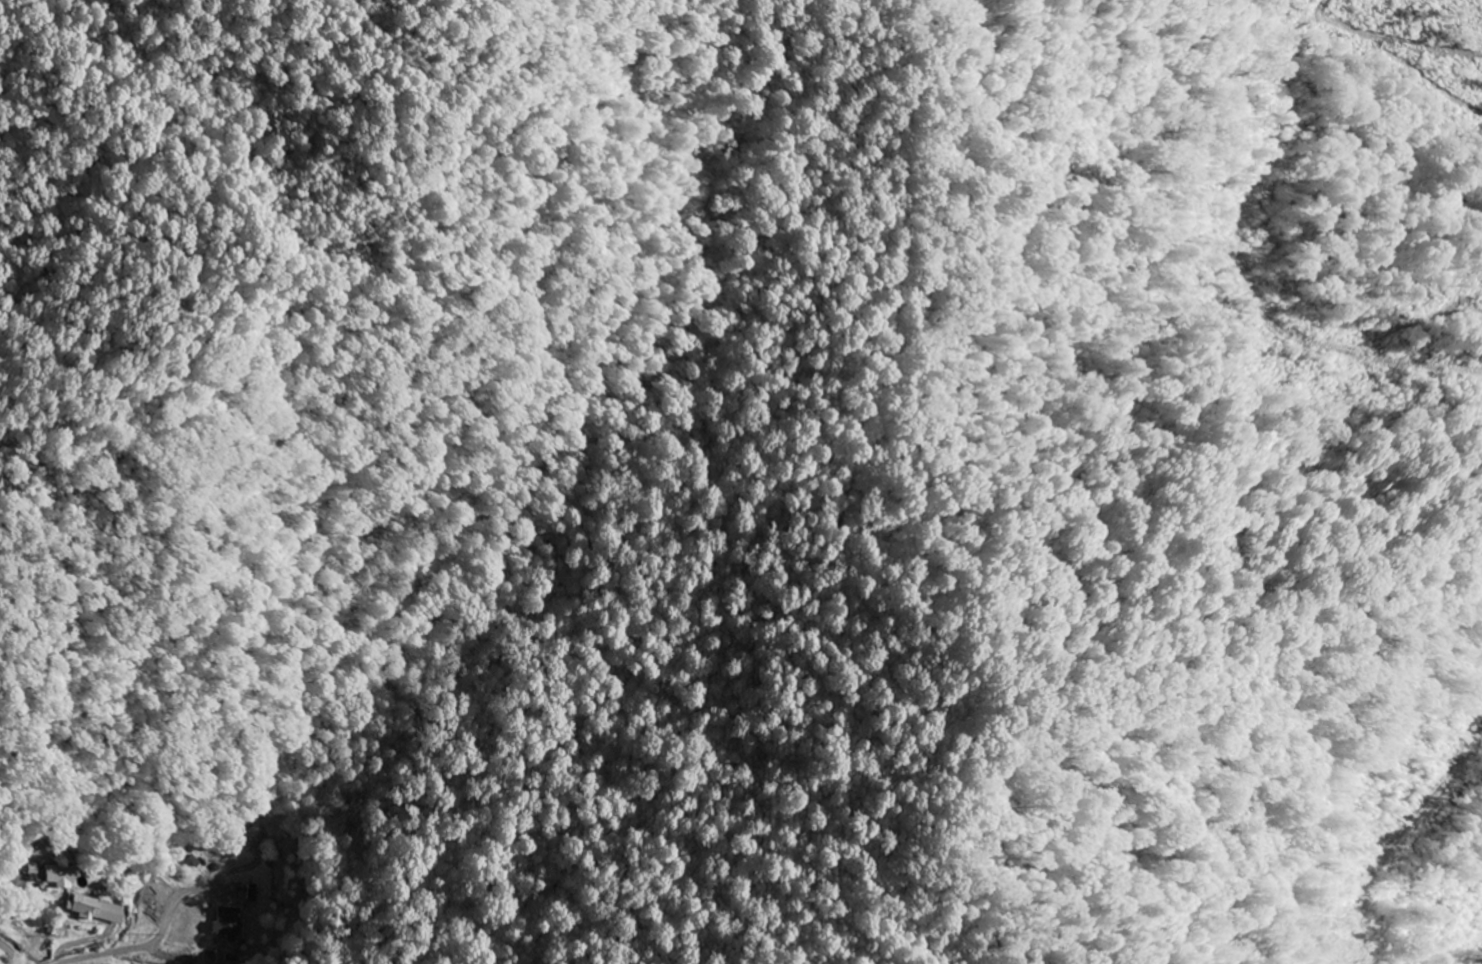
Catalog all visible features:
building: (32, 867)
building: (59, 875)
building: (41, 878)
building: (95, 908)
building: (227, 922)
road: (12, 951)

